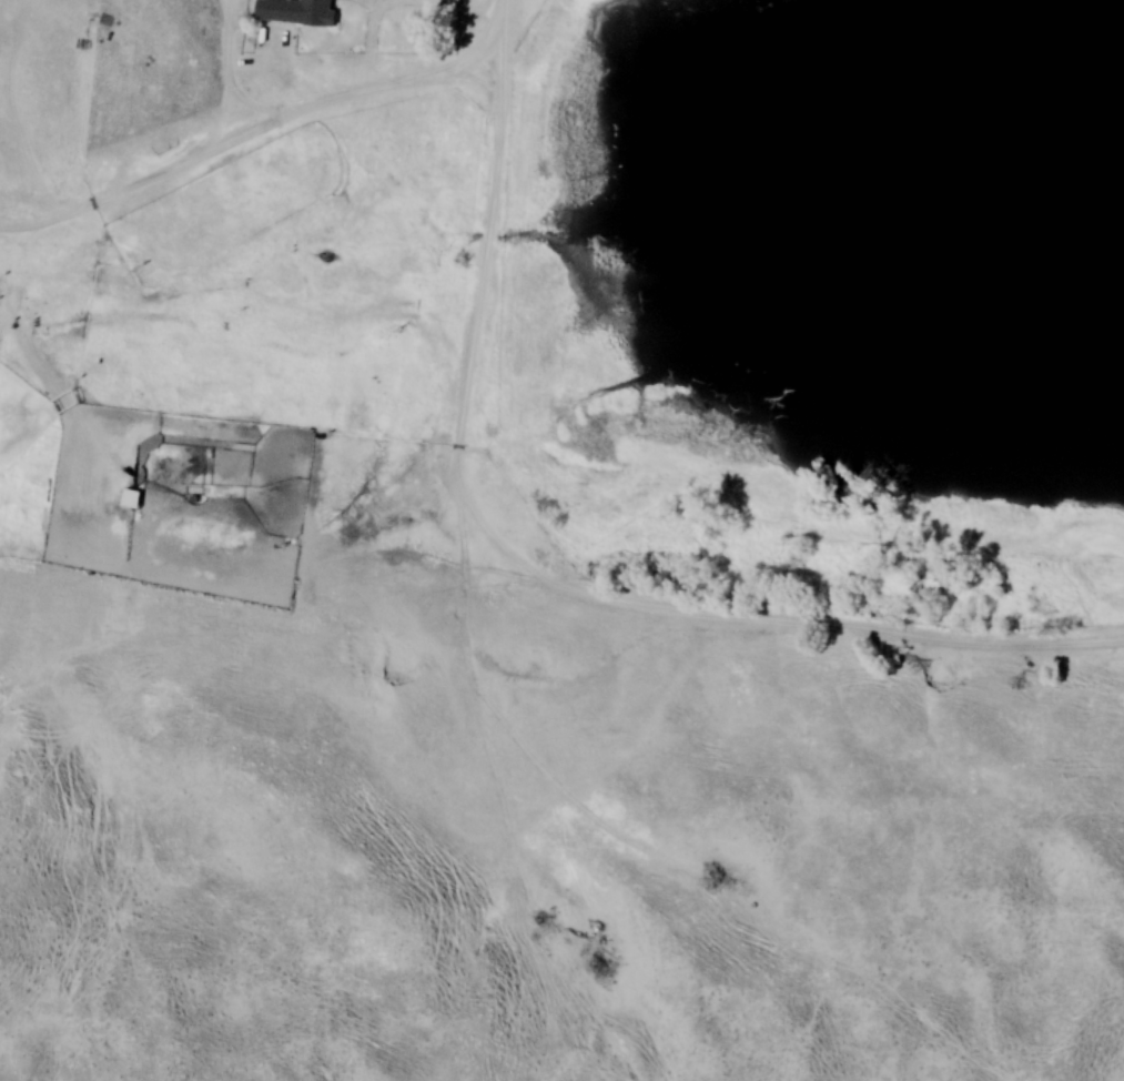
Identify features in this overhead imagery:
building: (297, 12)
road: (503, 34)
road: (469, 371)
building: (131, 498)
airport runway: (74, 590)

